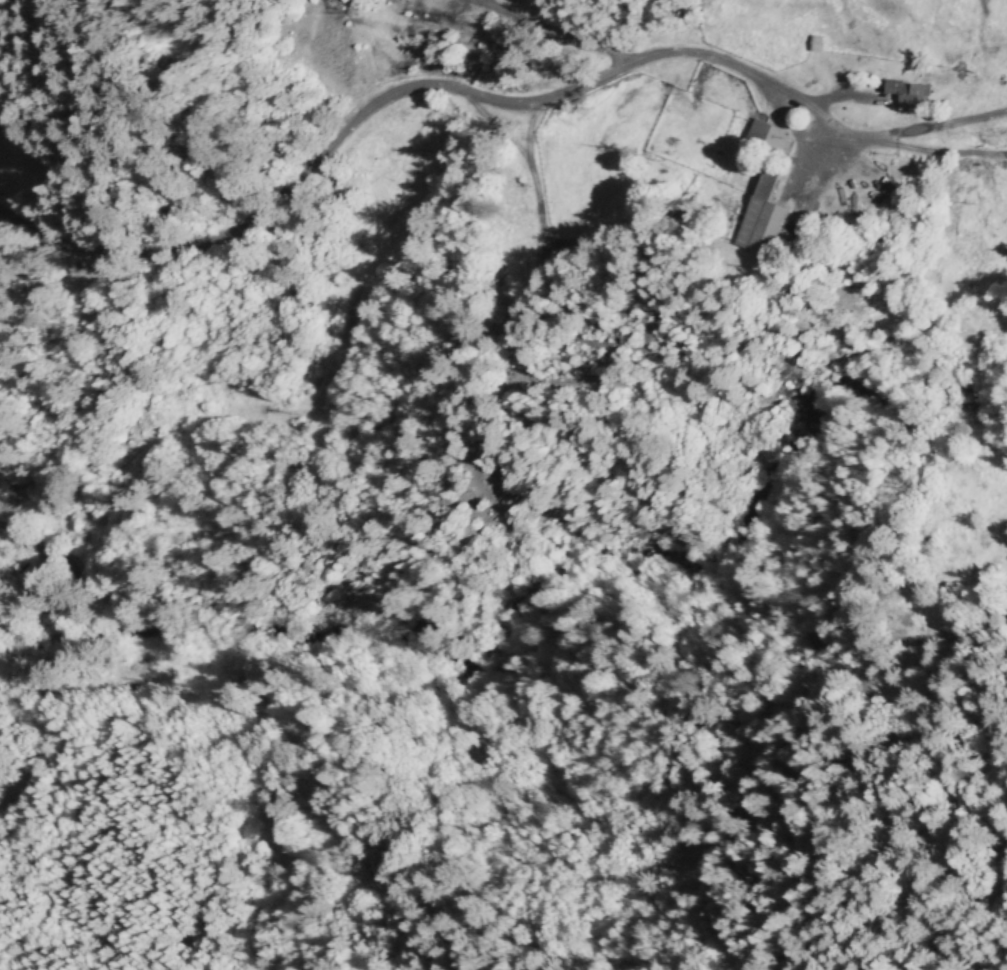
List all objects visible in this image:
building: (906, 92)
road: (810, 128)
building: (766, 136)
road: (942, 156)
road: (312, 171)
building: (763, 218)
road: (34, 544)
road: (835, 876)

